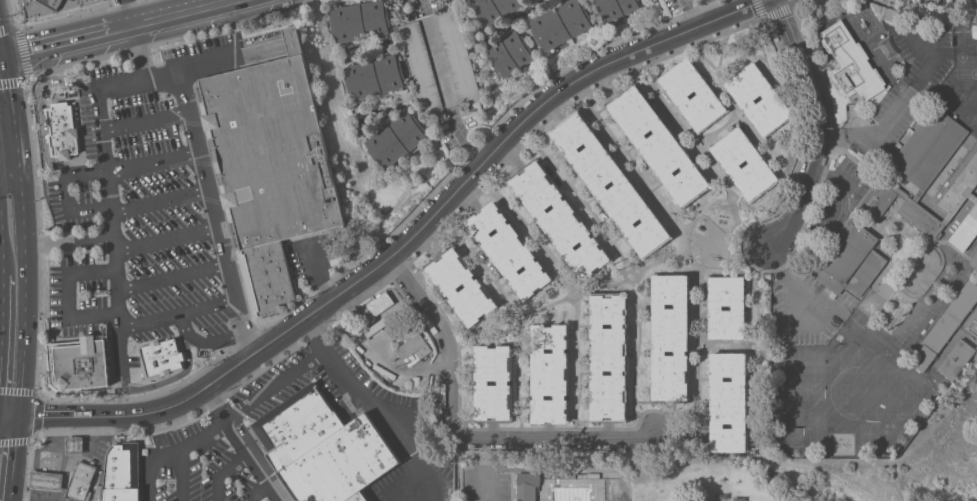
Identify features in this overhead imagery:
building: (913, 2)
road: (416, 4)
building: (50, 6)
building: (616, 8)
building: (495, 9)
road: (133, 10)
road: (181, 10)
road: (693, 12)
building: (897, 17)
building: (359, 21)
building: (559, 24)
building: (923, 25)
building: (974, 31)
road: (4, 37)
road: (68, 38)
traffic signals: (8, 53)
building: (509, 53)
building: (439, 63)
building: (851, 63)
road: (204, 64)
building: (891, 68)
road: (151, 75)
building: (373, 77)
building: (706, 94)
road: (13, 97)
building: (772, 99)
road: (180, 101)
road: (43, 107)
road: (146, 120)
road: (814, 125)
building: (62, 130)
road: (870, 135)
building: (395, 139)
road: (467, 139)
building: (657, 145)
parking lot: (86, 152)
road: (206, 153)
road: (154, 164)
building: (758, 164)
road: (213, 167)
building: (270, 168)
road: (474, 174)
road: (87, 176)
building: (928, 179)
building: (596, 185)
road: (161, 198)
road: (214, 201)
road: (73, 210)
building: (558, 219)
road: (113, 230)
road: (168, 234)
road: (228, 243)
road: (71, 244)
building: (508, 251)
road: (1, 257)
building: (974, 261)
building: (853, 263)
road: (238, 270)
road: (173, 275)
road: (26, 277)
road: (788, 283)
building: (448, 287)
road: (70, 295)
road: (0, 299)
building: (738, 307)
road: (179, 311)
building: (973, 322)
building: (946, 325)
building: (670, 339)
building: (412, 349)
building: (162, 358)
building: (608, 359)
building: (957, 359)
building: (79, 363)
road: (431, 368)
building: (550, 373)
building: (481, 382)
road: (276, 387)
building: (728, 402)
road: (379, 406)
traffic signals: (21, 414)
road: (107, 414)
road: (463, 434)
road: (86, 435)
road: (55, 439)
building: (75, 445)
road: (240, 446)
building: (323, 448)
road: (173, 452)
road: (34, 453)
road: (15, 457)
parking lot: (202, 464)
park: (775, 470)
road: (223, 473)
building: (121, 474)
building: (572, 474)
road: (183, 475)
road: (37, 479)
road: (404, 479)
building: (46, 480)
building: (82, 481)
building: (528, 485)
road: (258, 491)
road: (482, 492)
road: (872, 492)
road: (35, 493)
road: (33, 500)

